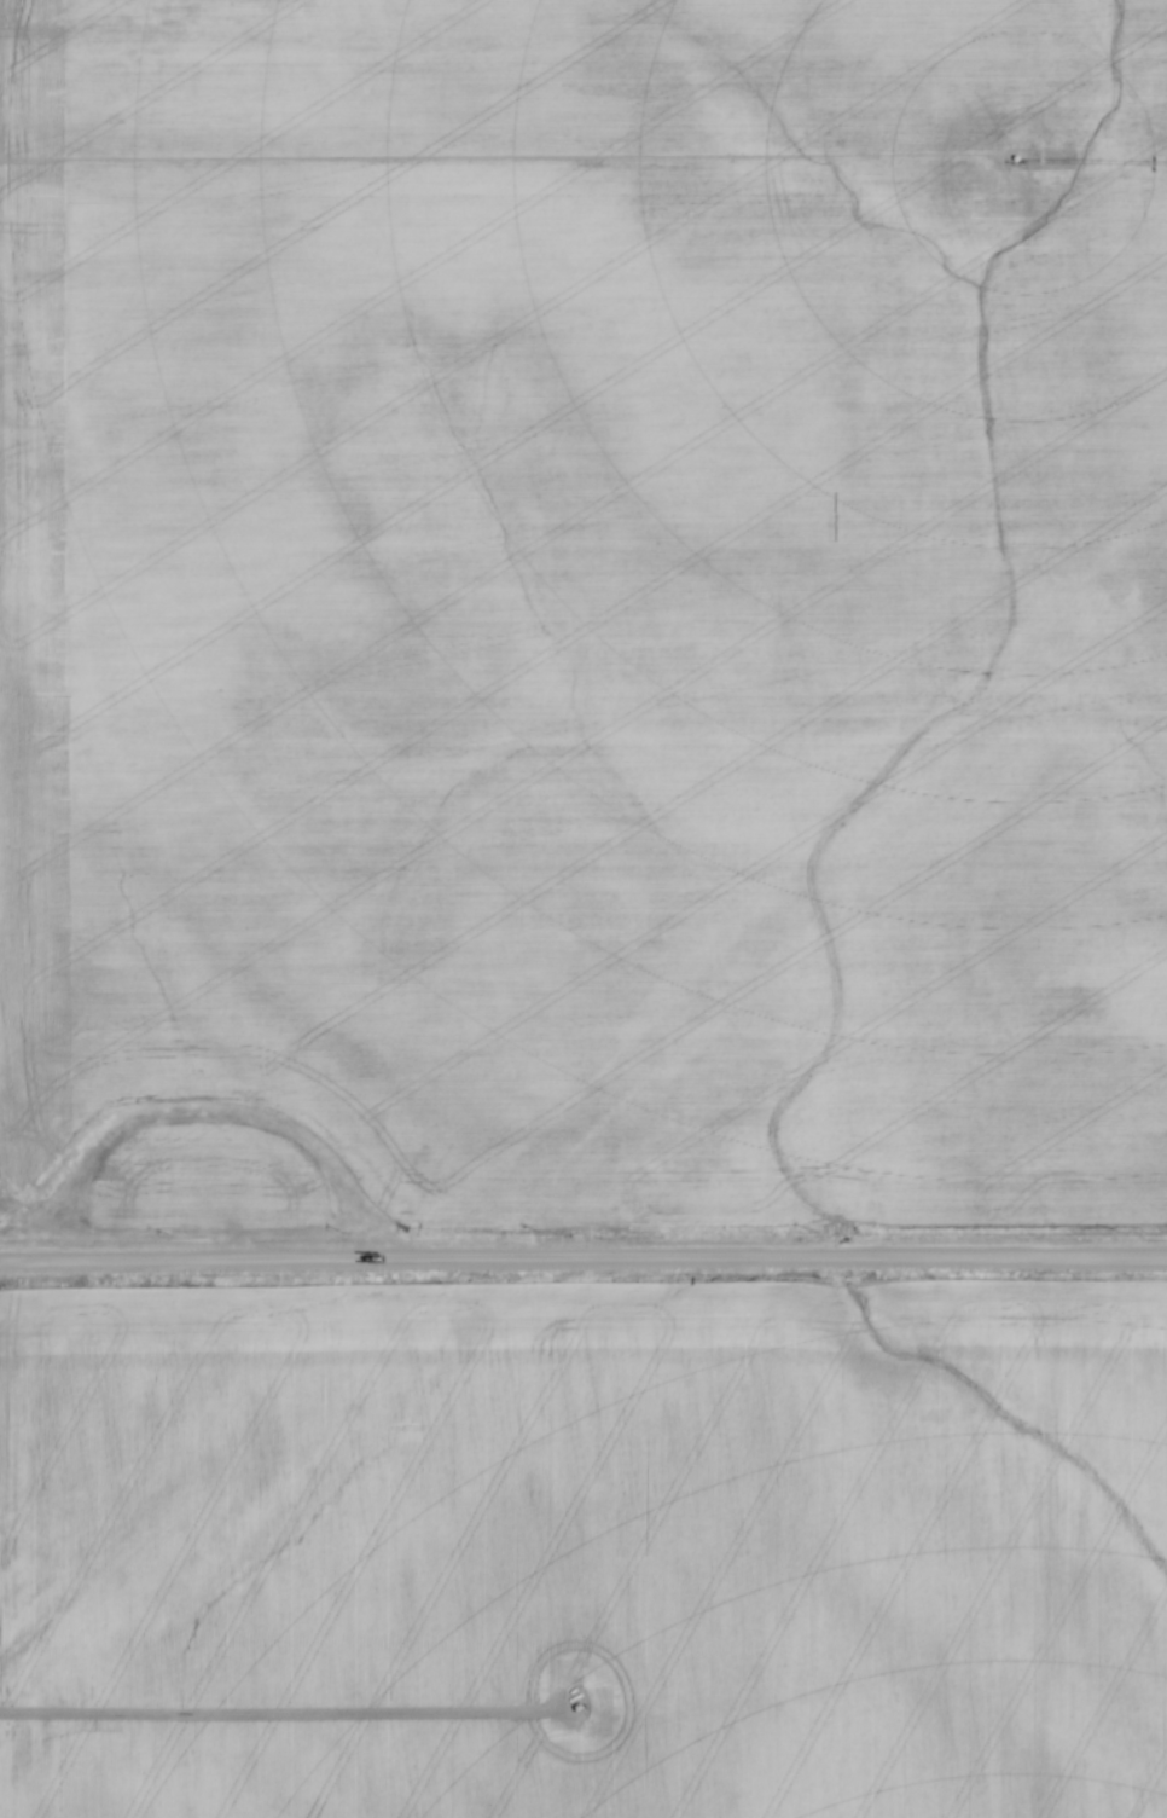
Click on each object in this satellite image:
road: (582, 1266)

